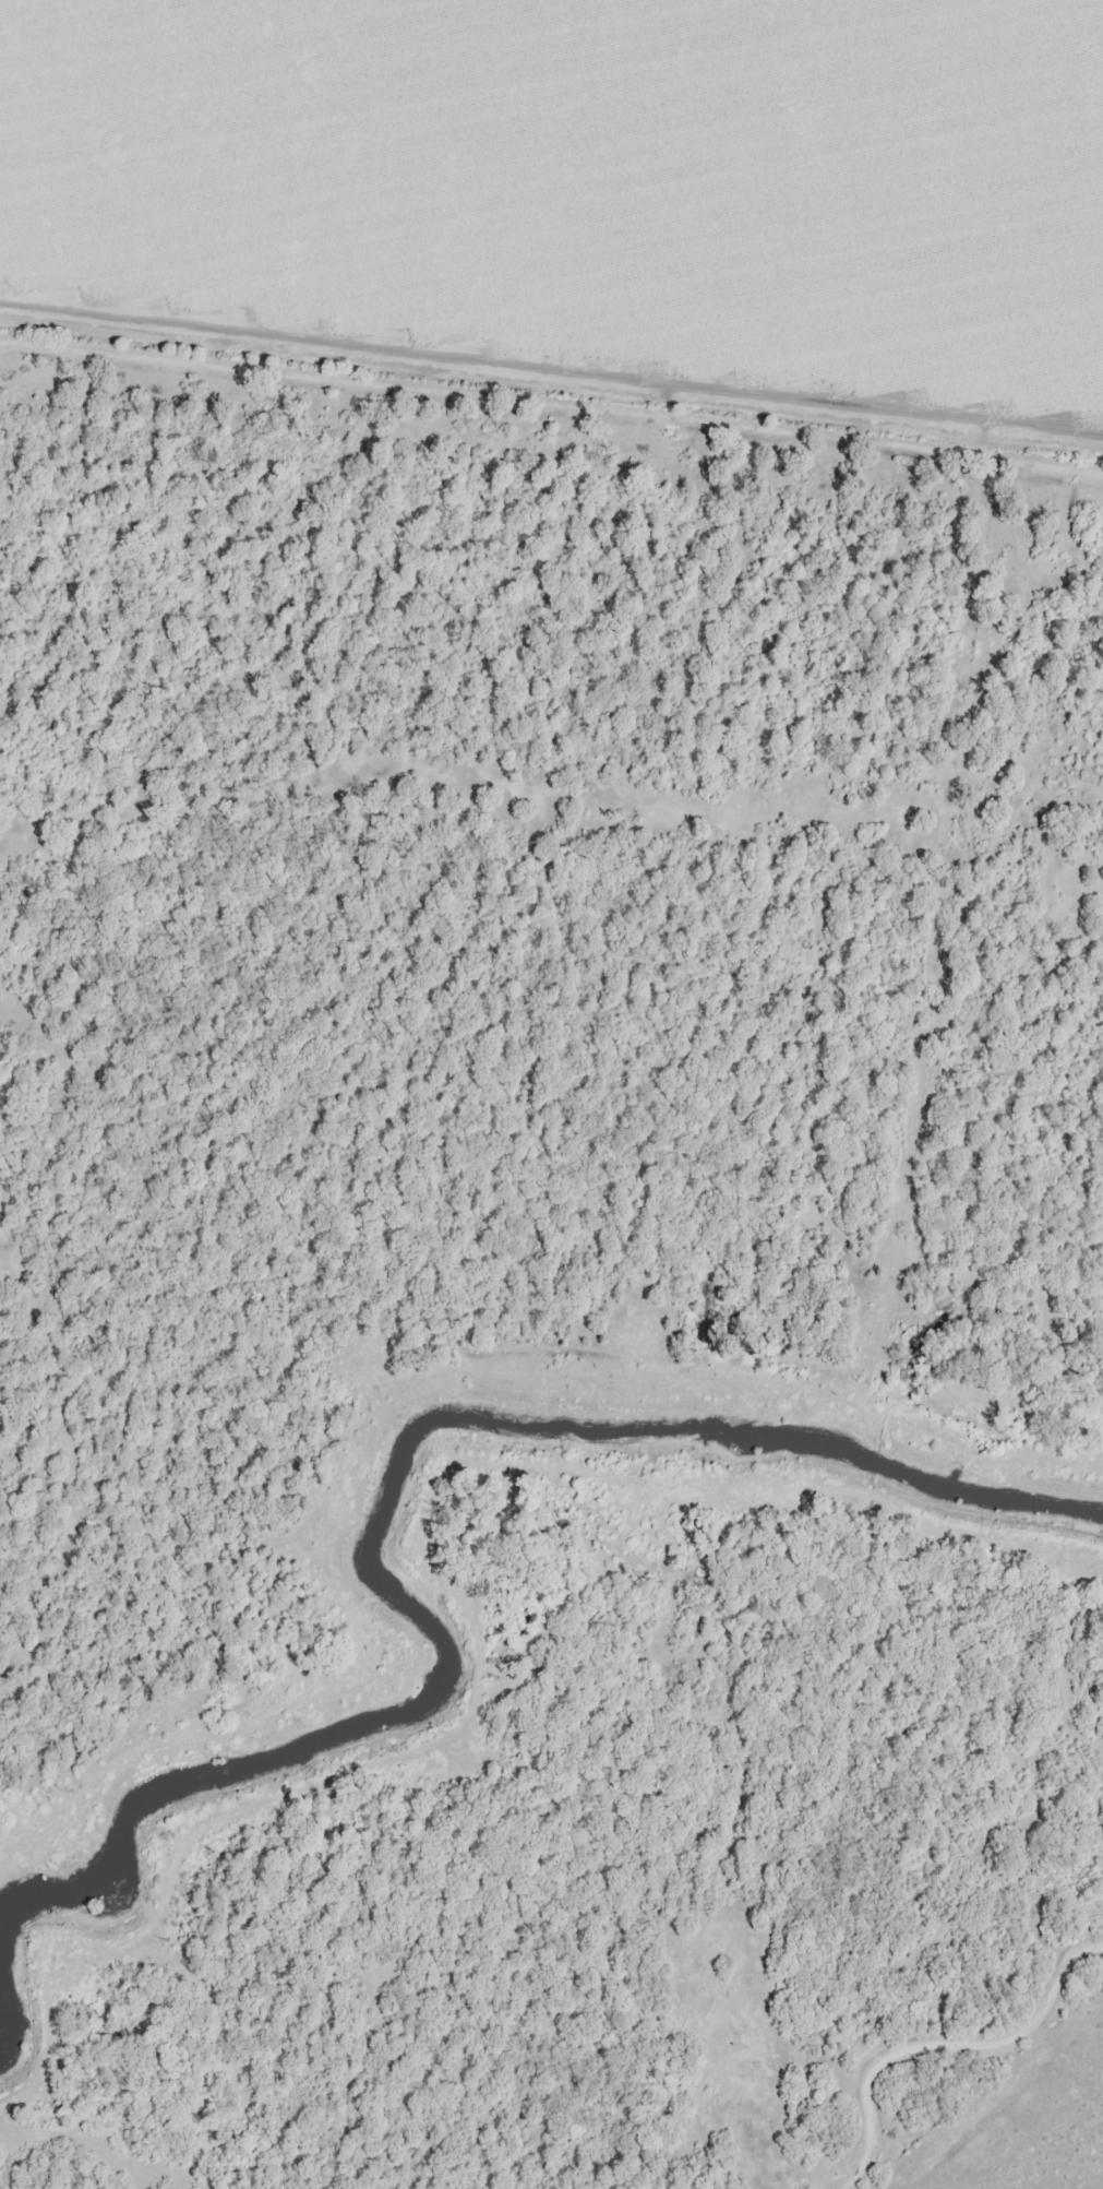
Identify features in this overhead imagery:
road: (551, 402)
river: (370, 1555)
road: (944, 2039)

